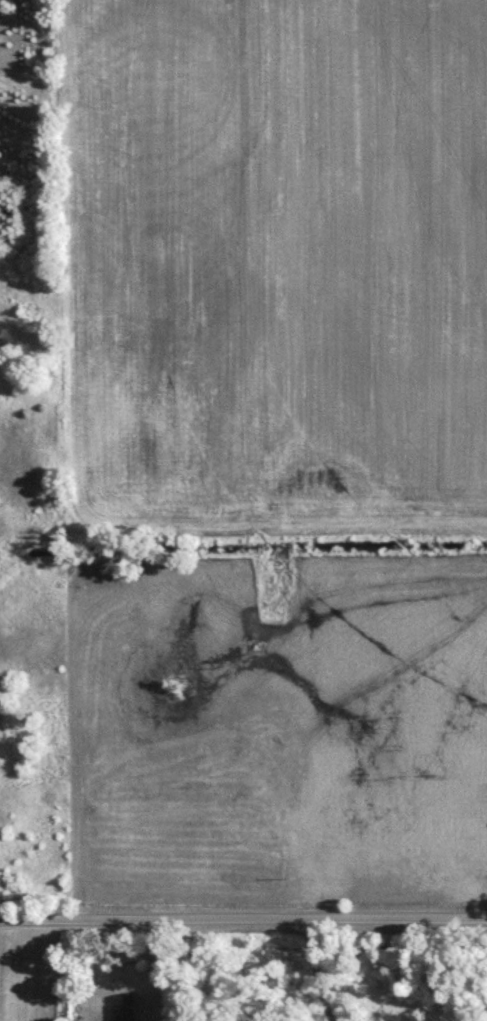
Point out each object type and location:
road: (243, 920)
road: (318, 971)
building: (129, 1010)

